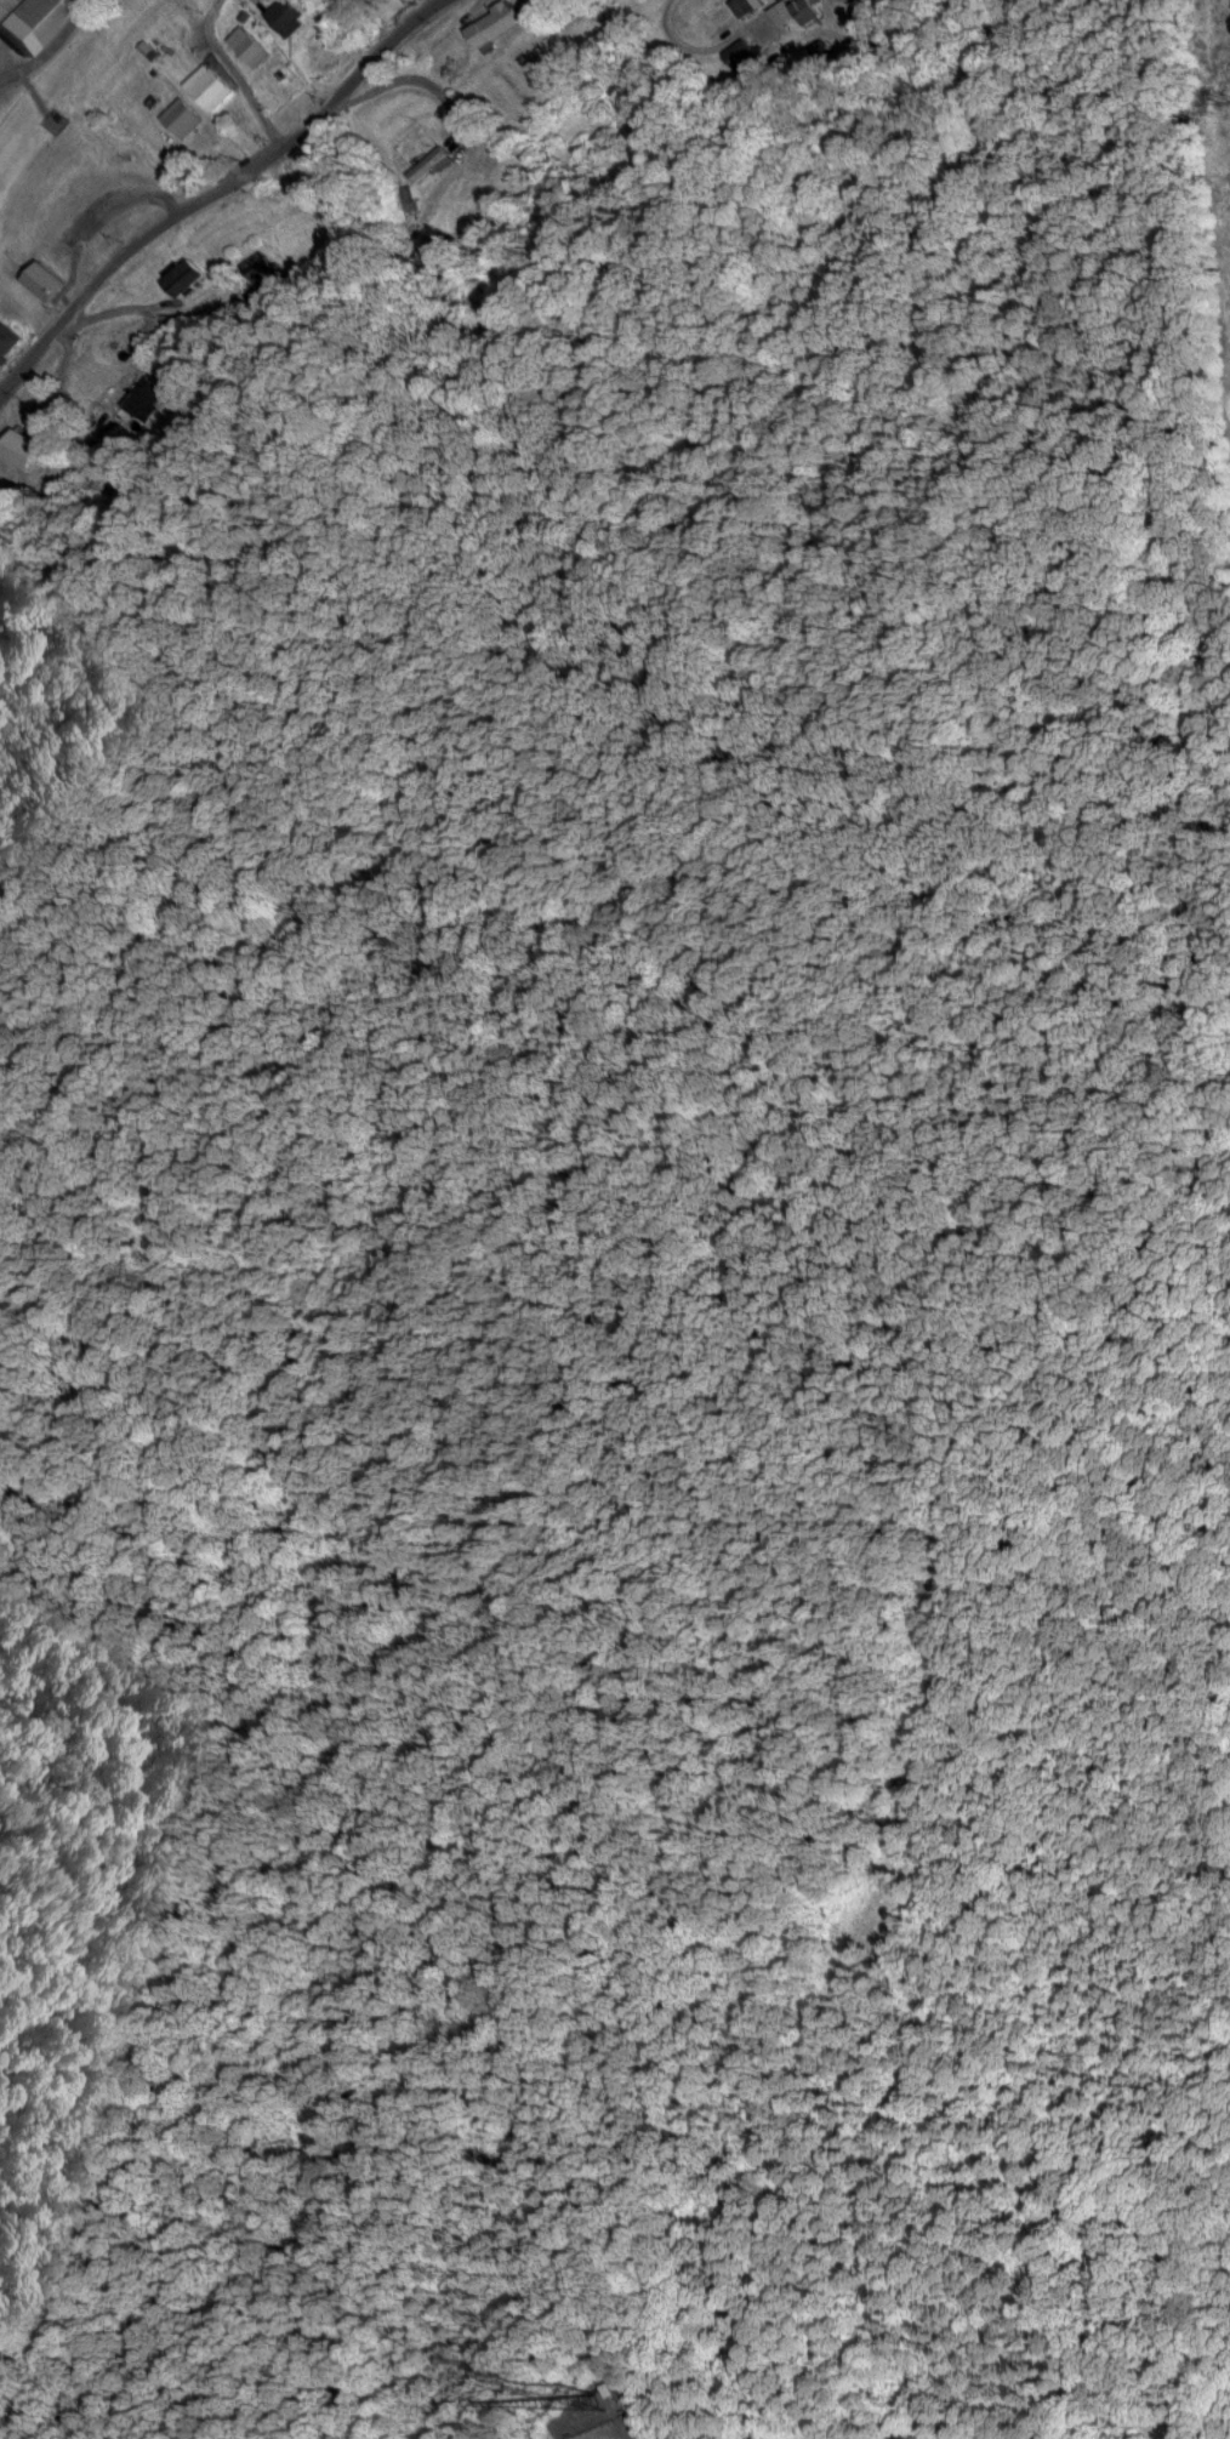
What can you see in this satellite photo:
building: (748, 5)
building: (808, 8)
building: (289, 12)
building: (30, 19)
building: (497, 21)
building: (249, 44)
building: (741, 51)
road: (232, 73)
building: (212, 82)
road: (398, 82)
building: (183, 115)
building: (433, 161)
road: (213, 190)
road: (109, 204)
building: (257, 261)
building: (186, 272)
building: (47, 278)
road: (106, 314)
building: (8, 338)
building: (148, 393)
road: (52, 401)
building: (23, 444)

